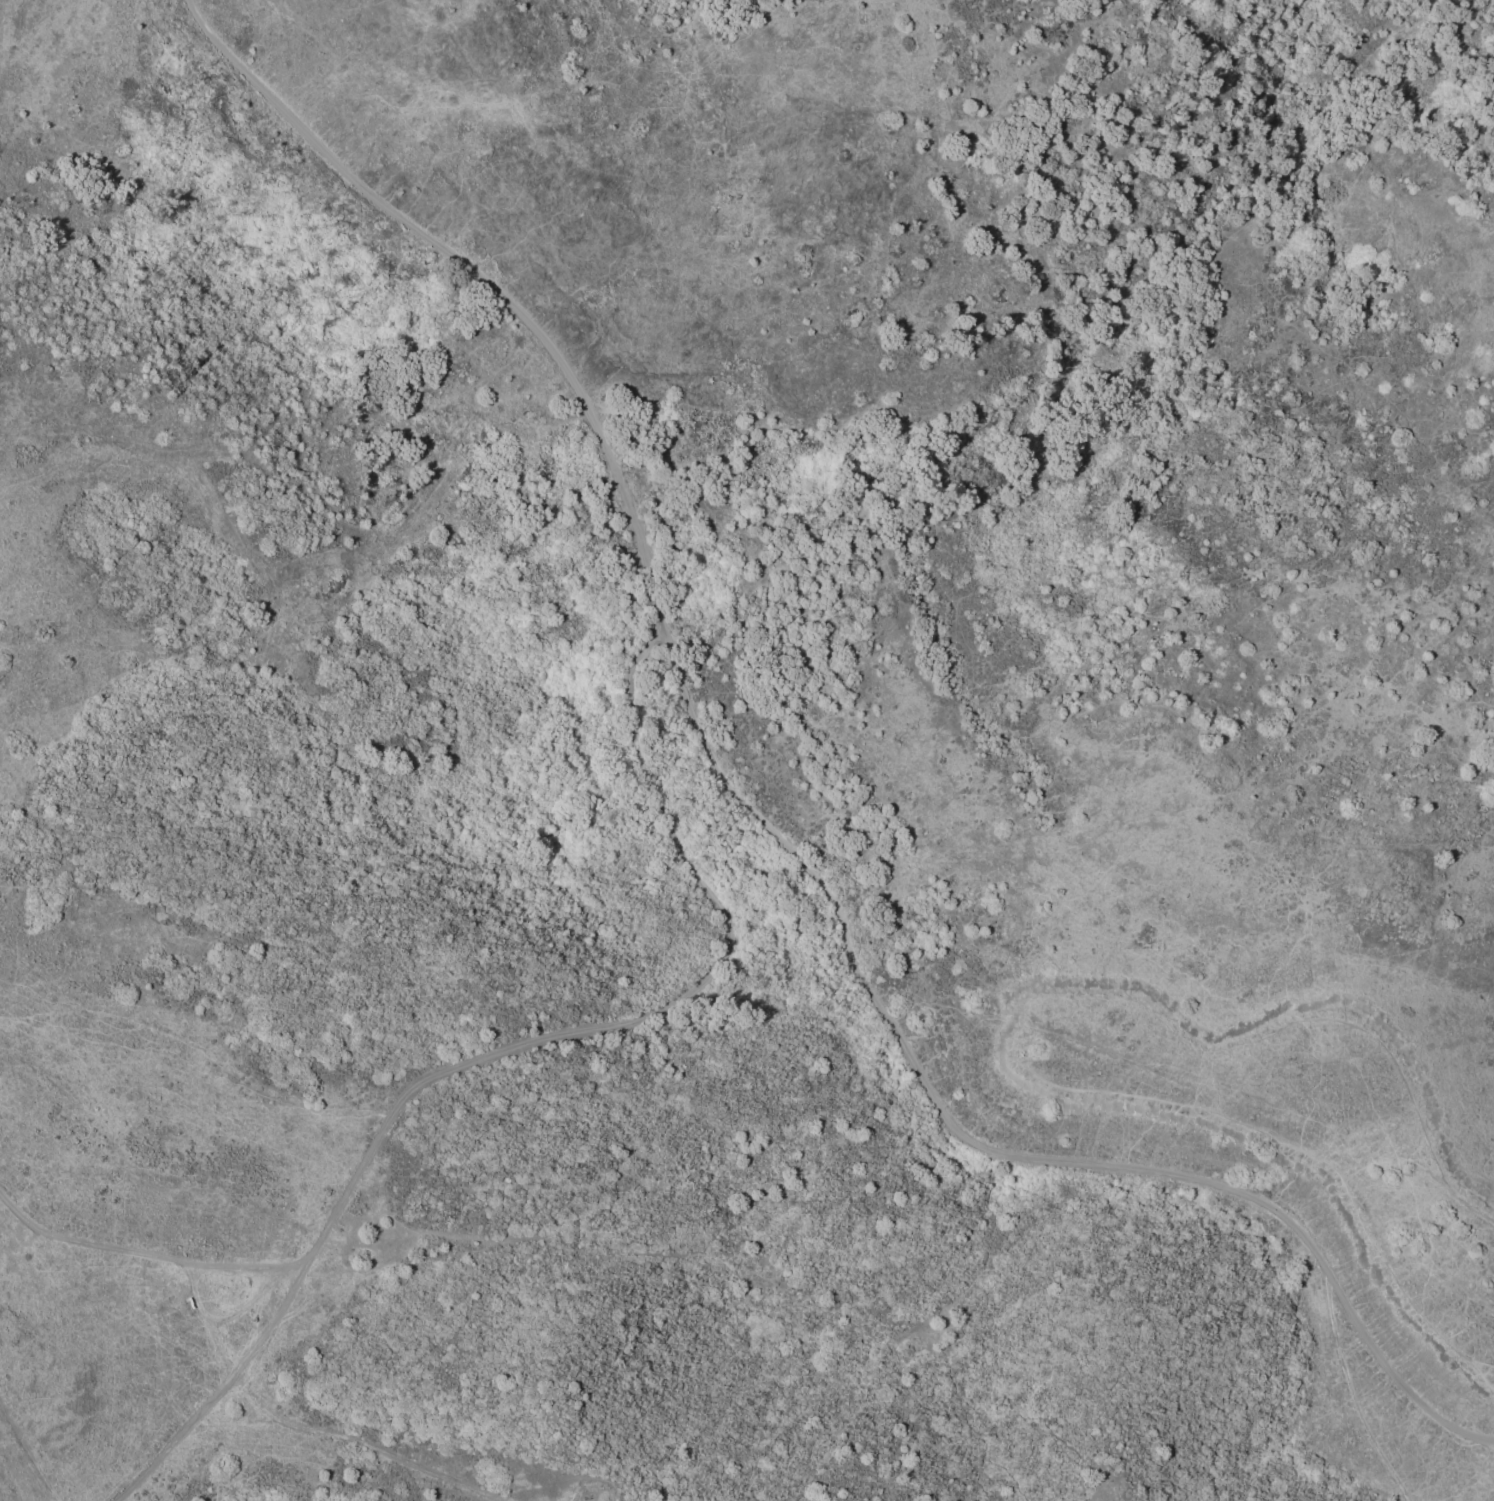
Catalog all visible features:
road: (634, 521)
road: (503, 1056)
road: (1103, 1167)
road: (1364, 1335)

